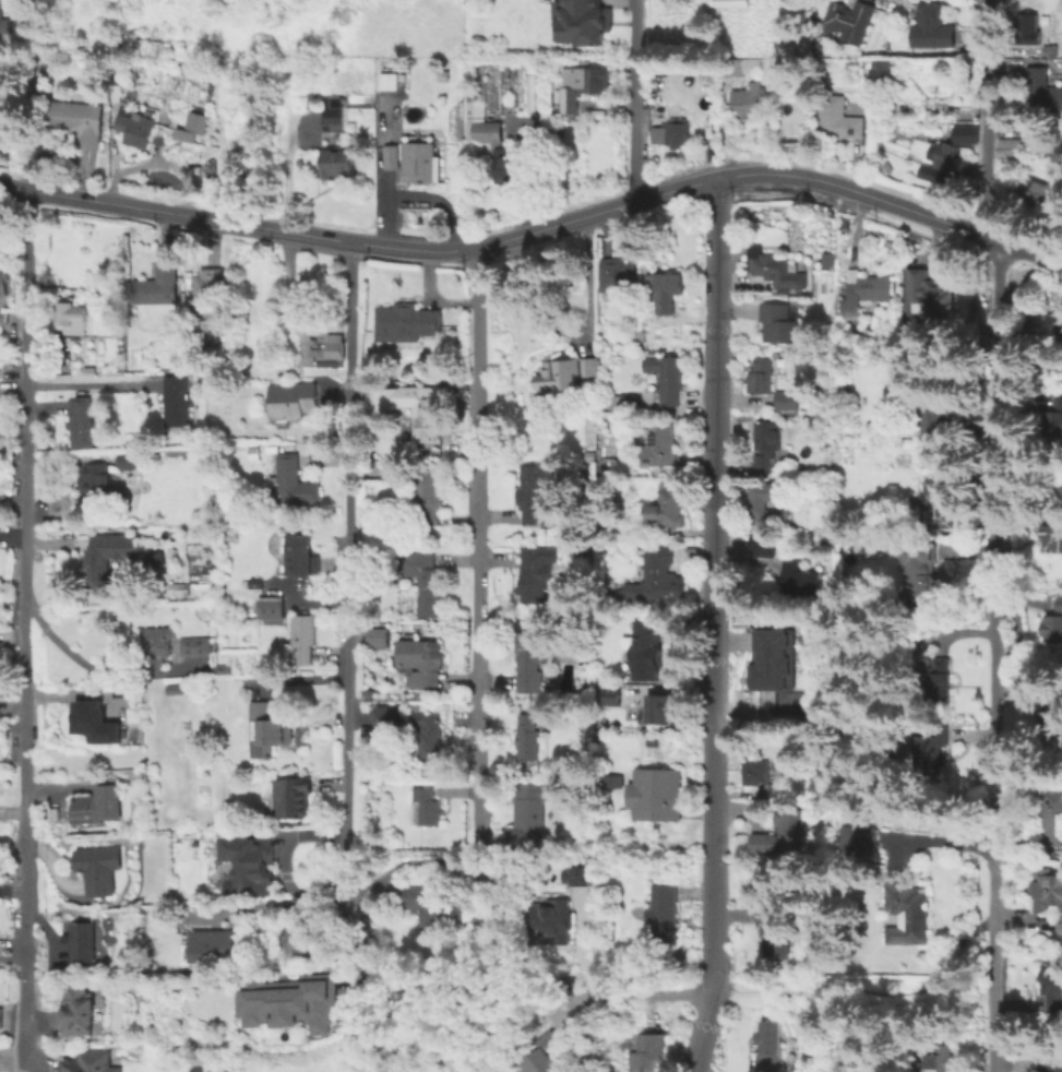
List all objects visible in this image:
building: (732, 4)
building: (582, 17)
building: (852, 19)
building: (3, 21)
building: (933, 25)
building: (1028, 28)
building: (740, 65)
building: (886, 73)
building: (386, 81)
building: (578, 85)
building: (1042, 93)
building: (496, 97)
building: (544, 99)
road: (633, 99)
building: (749, 99)
building: (5, 105)
building: (892, 108)
building: (838, 118)
building: (84, 123)
building: (133, 124)
building: (189, 127)
building: (677, 131)
building: (964, 133)
building: (656, 134)
building: (333, 142)
road: (295, 145)
building: (1013, 146)
building: (955, 151)
building: (391, 156)
building: (505, 163)
building: (422, 167)
building: (1042, 188)
road: (537, 227)
road: (977, 242)
building: (777, 271)
building: (617, 275)
road: (585, 277)
building: (2, 282)
building: (157, 285)
building: (207, 290)
building: (666, 290)
building: (864, 291)
building: (924, 291)
building: (69, 310)
building: (3, 318)
building: (406, 319)
building: (778, 322)
building: (1054, 322)
building: (118, 331)
building: (335, 335)
building: (590, 367)
building: (217, 373)
building: (558, 374)
building: (763, 374)
building: (669, 380)
road: (86, 384)
building: (175, 400)
building: (293, 400)
building: (786, 400)
building: (624, 401)
building: (934, 410)
building: (1053, 415)
building: (428, 420)
building: (81, 421)
building: (764, 443)
building: (660, 445)
building: (252, 452)
building: (126, 457)
building: (395, 474)
building: (98, 477)
building: (295, 481)
building: (429, 496)
building: (534, 499)
building: (761, 500)
building: (934, 504)
building: (668, 505)
building: (1054, 534)
road: (994, 535)
building: (809, 538)
road: (477, 545)
building: (763, 546)
building: (301, 555)
building: (98, 559)
building: (536, 573)
building: (658, 573)
building: (923, 573)
building: (396, 577)
building: (422, 577)
building: (800, 580)
building: (258, 586)
building: (179, 587)
building: (616, 594)
building: (1060, 605)
building: (216, 608)
building: (272, 609)
road: (351, 617)
road: (712, 626)
building: (819, 629)
road: (21, 630)
building: (1054, 632)
building: (378, 638)
building: (300, 640)
building: (157, 645)
building: (195, 645)
building: (647, 647)
building: (530, 660)
building: (774, 660)
road: (84, 662)
building: (421, 662)
building: (222, 669)
building: (938, 672)
building: (611, 692)
building: (660, 705)
building: (1052, 711)
building: (389, 715)
building: (93, 718)
building: (264, 728)
building: (428, 735)
building: (527, 737)
building: (653, 740)
building: (933, 746)
building: (760, 776)
building: (612, 779)
building: (666, 795)
building: (293, 796)
building: (97, 806)
building: (426, 807)
building: (530, 809)
building: (1051, 817)
building: (788, 818)
building: (859, 835)
road: (932, 837)
building: (760, 842)
building: (249, 859)
building: (99, 868)
building: (577, 872)
road: (11, 891)
building: (1052, 892)
building: (434, 905)
building: (664, 913)
building: (909, 917)
building: (552, 918)
building: (1059, 927)
building: (774, 928)
building: (300, 937)
building: (81, 940)
building: (215, 944)
building: (223, 981)
building: (1050, 984)
road: (450, 992)
road: (852, 993)
road: (621, 994)
building: (293, 1000)
building: (75, 1010)
building: (1, 1016)
building: (769, 1046)
building: (647, 1053)
building: (545, 1056)
building: (940, 1058)
building: (88, 1061)
building: (1055, 1064)

